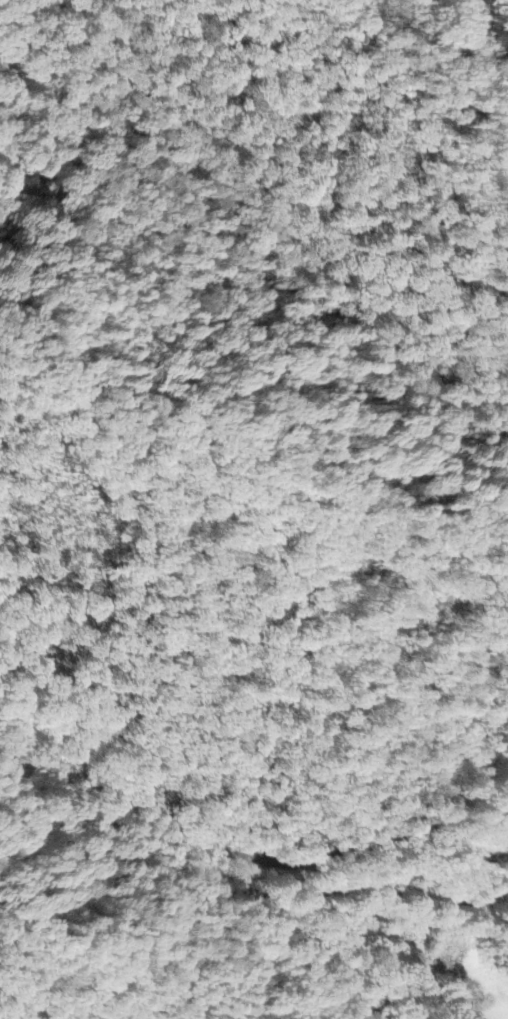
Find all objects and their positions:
road: (299, 814)

